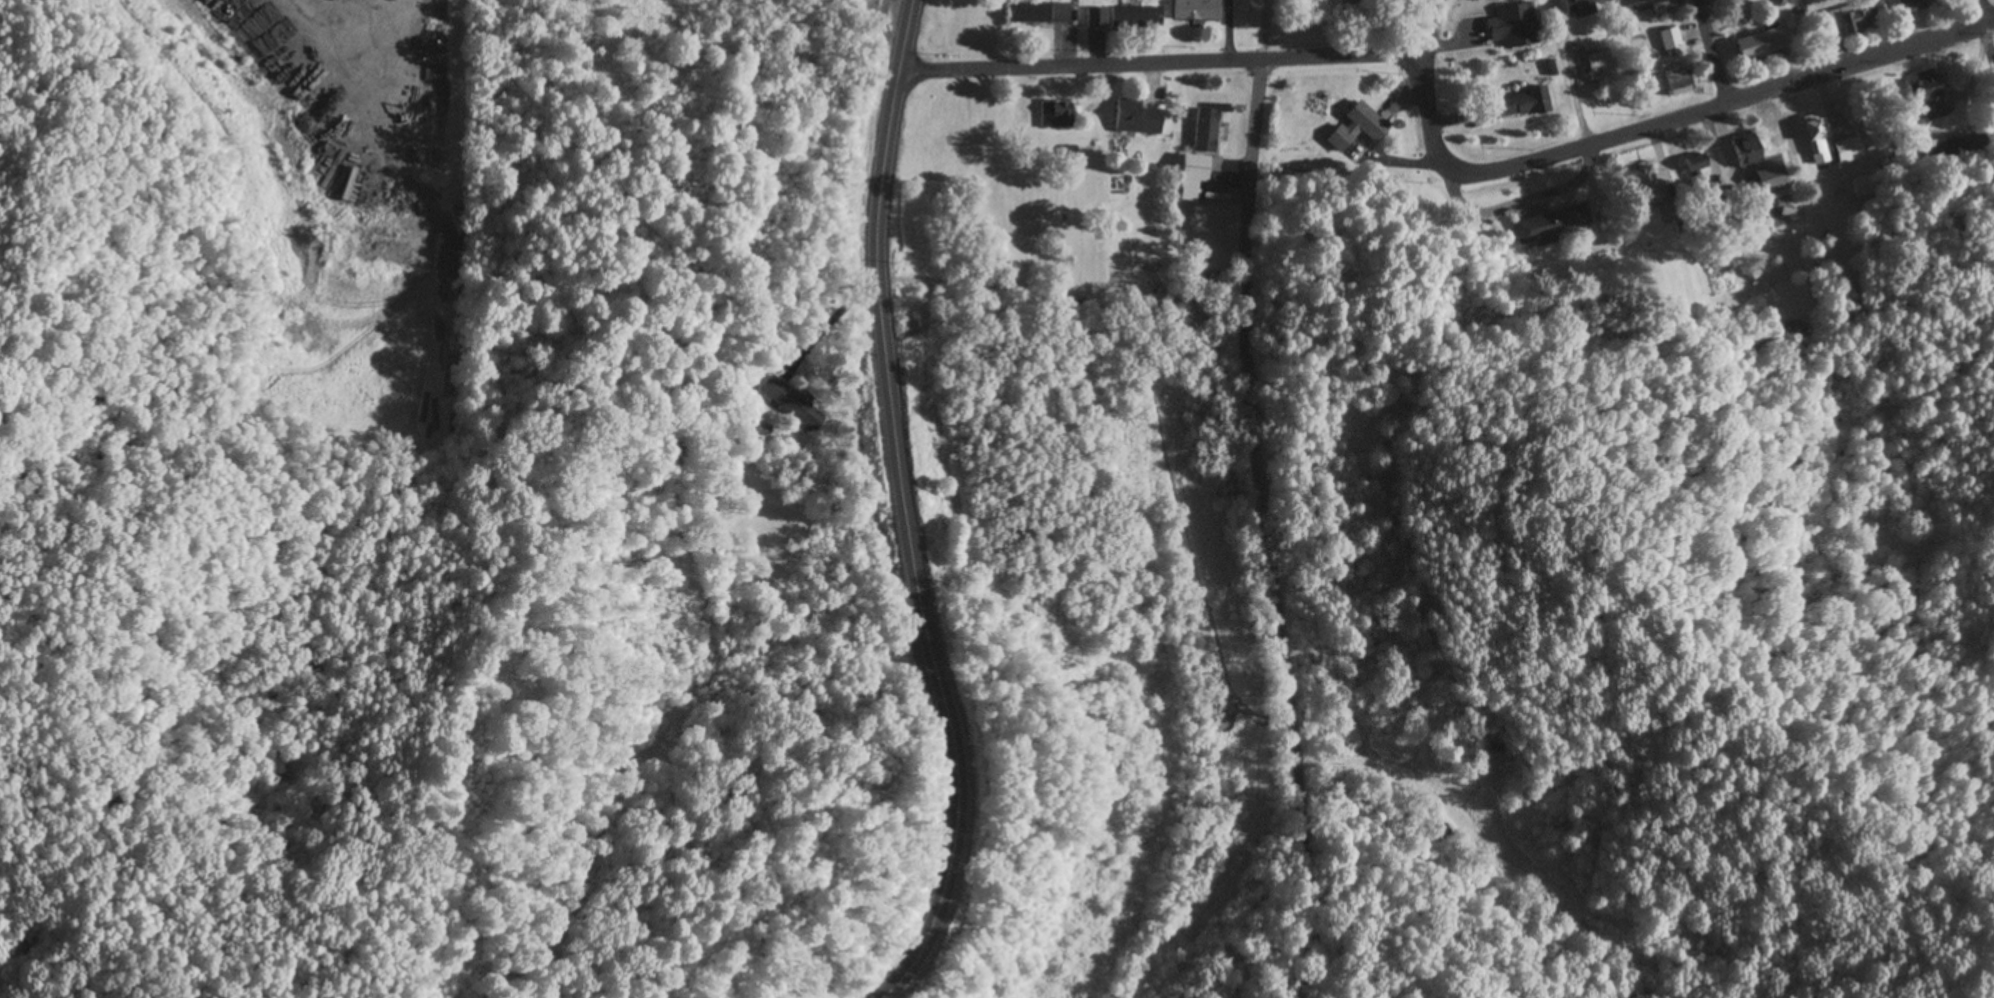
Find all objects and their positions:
park: (1993, 1)
building: (1628, 2)
building: (1789, 2)
building: (1913, 4)
building: (1577, 5)
building: (1197, 10)
building: (1042, 13)
building: (1097, 18)
building: (1137, 18)
building: (1851, 19)
road: (1986, 25)
building: (1515, 26)
road: (1431, 33)
building: (1670, 39)
building: (1760, 45)
road: (1716, 52)
building: (1600, 61)
road: (1160, 62)
road: (406, 64)
road: (1573, 73)
building: (1679, 83)
building: (1928, 95)
building: (1525, 104)
road: (1725, 105)
building: (1057, 115)
building: (1138, 119)
road: (1432, 119)
building: (1356, 127)
building: (1207, 131)
building: (1816, 140)
building: (1850, 150)
building: (1956, 150)
building: (1746, 151)
building: (1697, 168)
building: (1194, 175)
building: (1770, 179)
building: (1647, 187)
building: (1556, 224)
building: (794, 404)
road: (906, 514)
road: (1251, 530)

